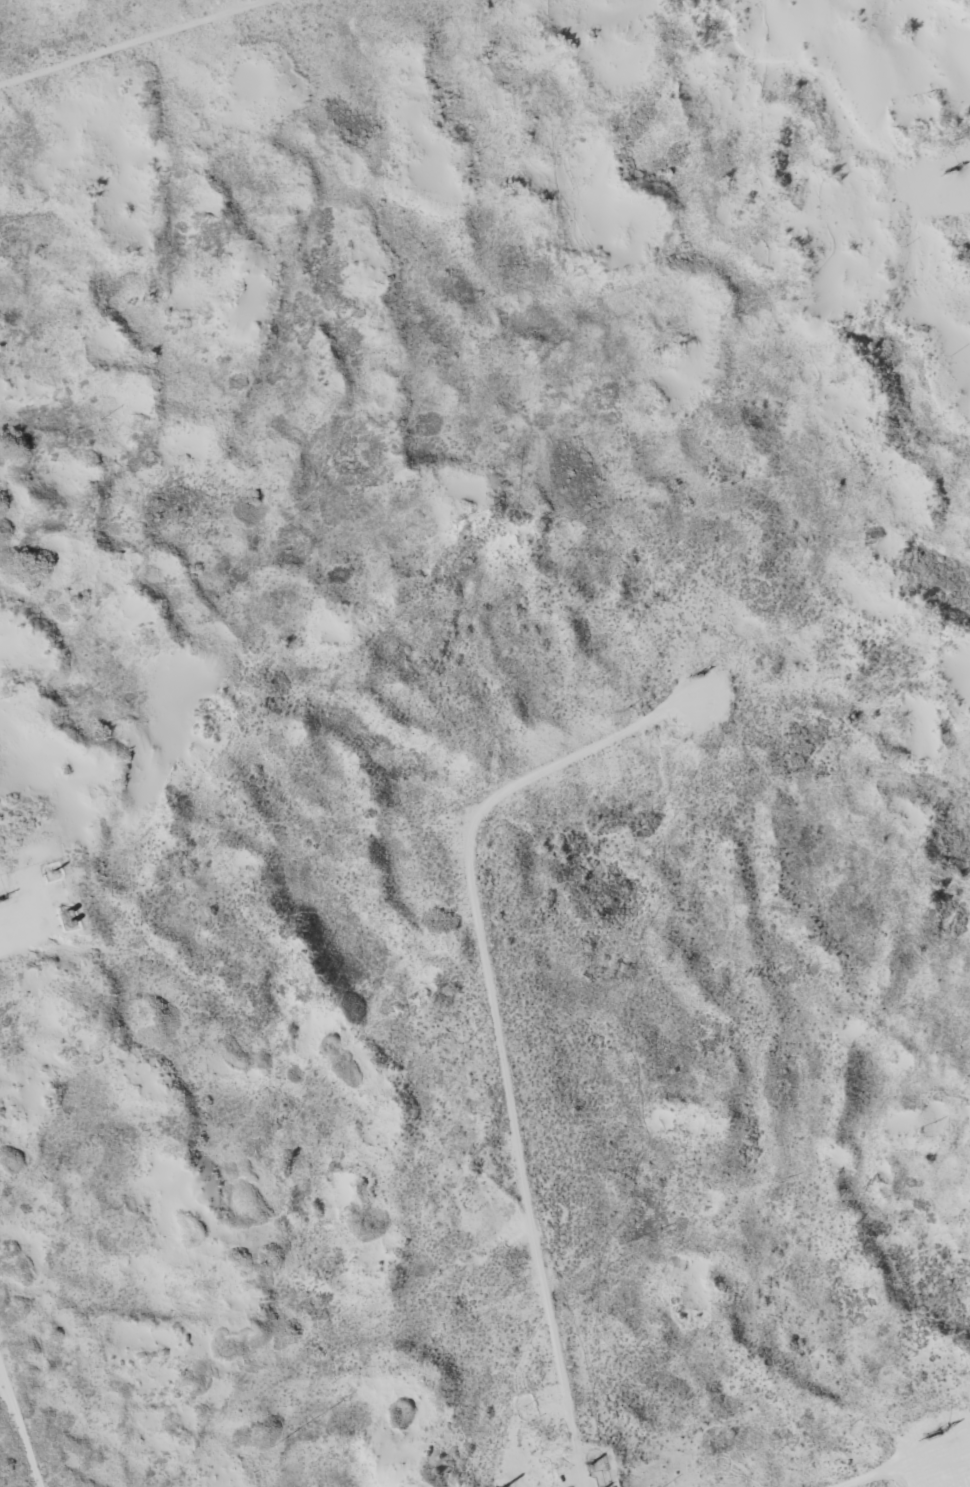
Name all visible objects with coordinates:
road: (522, 1070)
road: (13, 1438)
road: (876, 1478)

